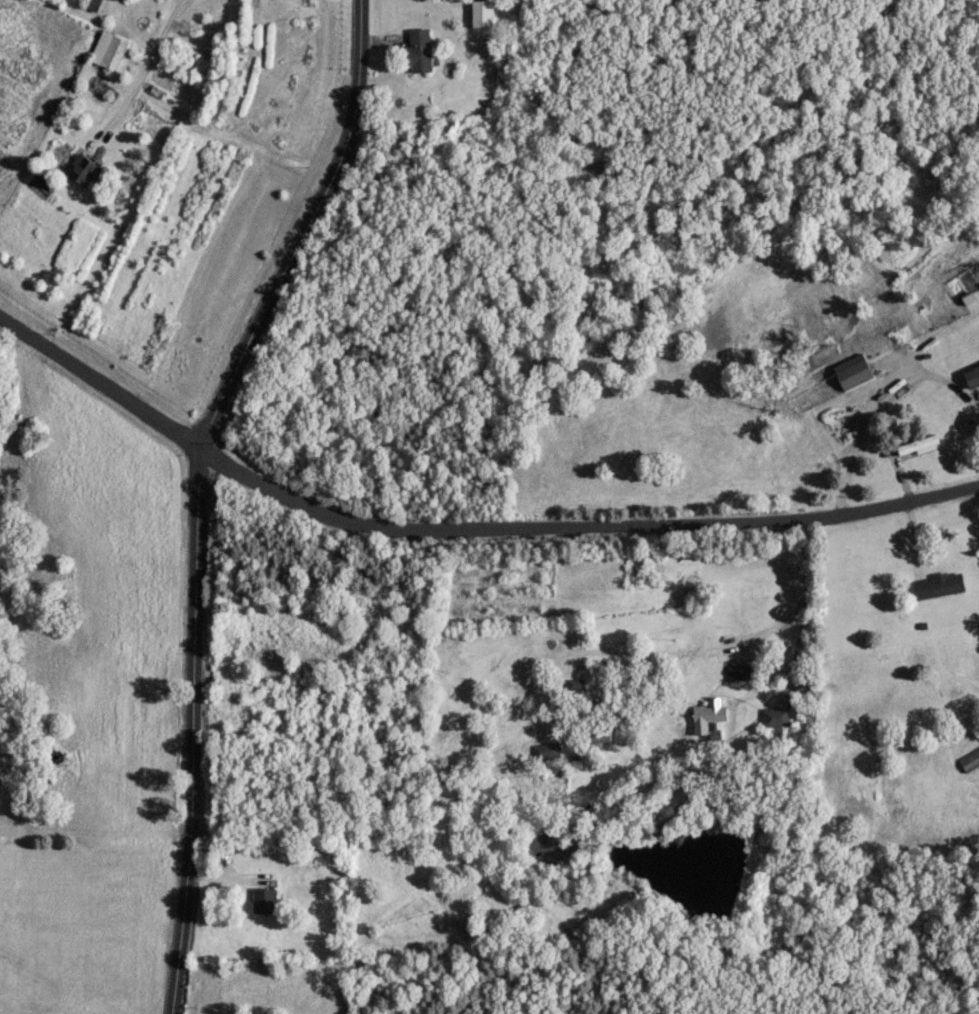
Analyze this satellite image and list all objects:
building: (89, 3)
building: (479, 12)
building: (106, 48)
building: (416, 48)
road: (141, 69)
building: (80, 168)
building: (850, 370)
building: (971, 375)
road: (874, 397)
building: (916, 443)
road: (193, 489)
road: (462, 527)
building: (936, 584)
road: (746, 645)
building: (736, 670)
building: (572, 686)
building: (707, 714)
building: (773, 714)
building: (596, 733)
building: (543, 749)
building: (968, 756)
building: (261, 899)

